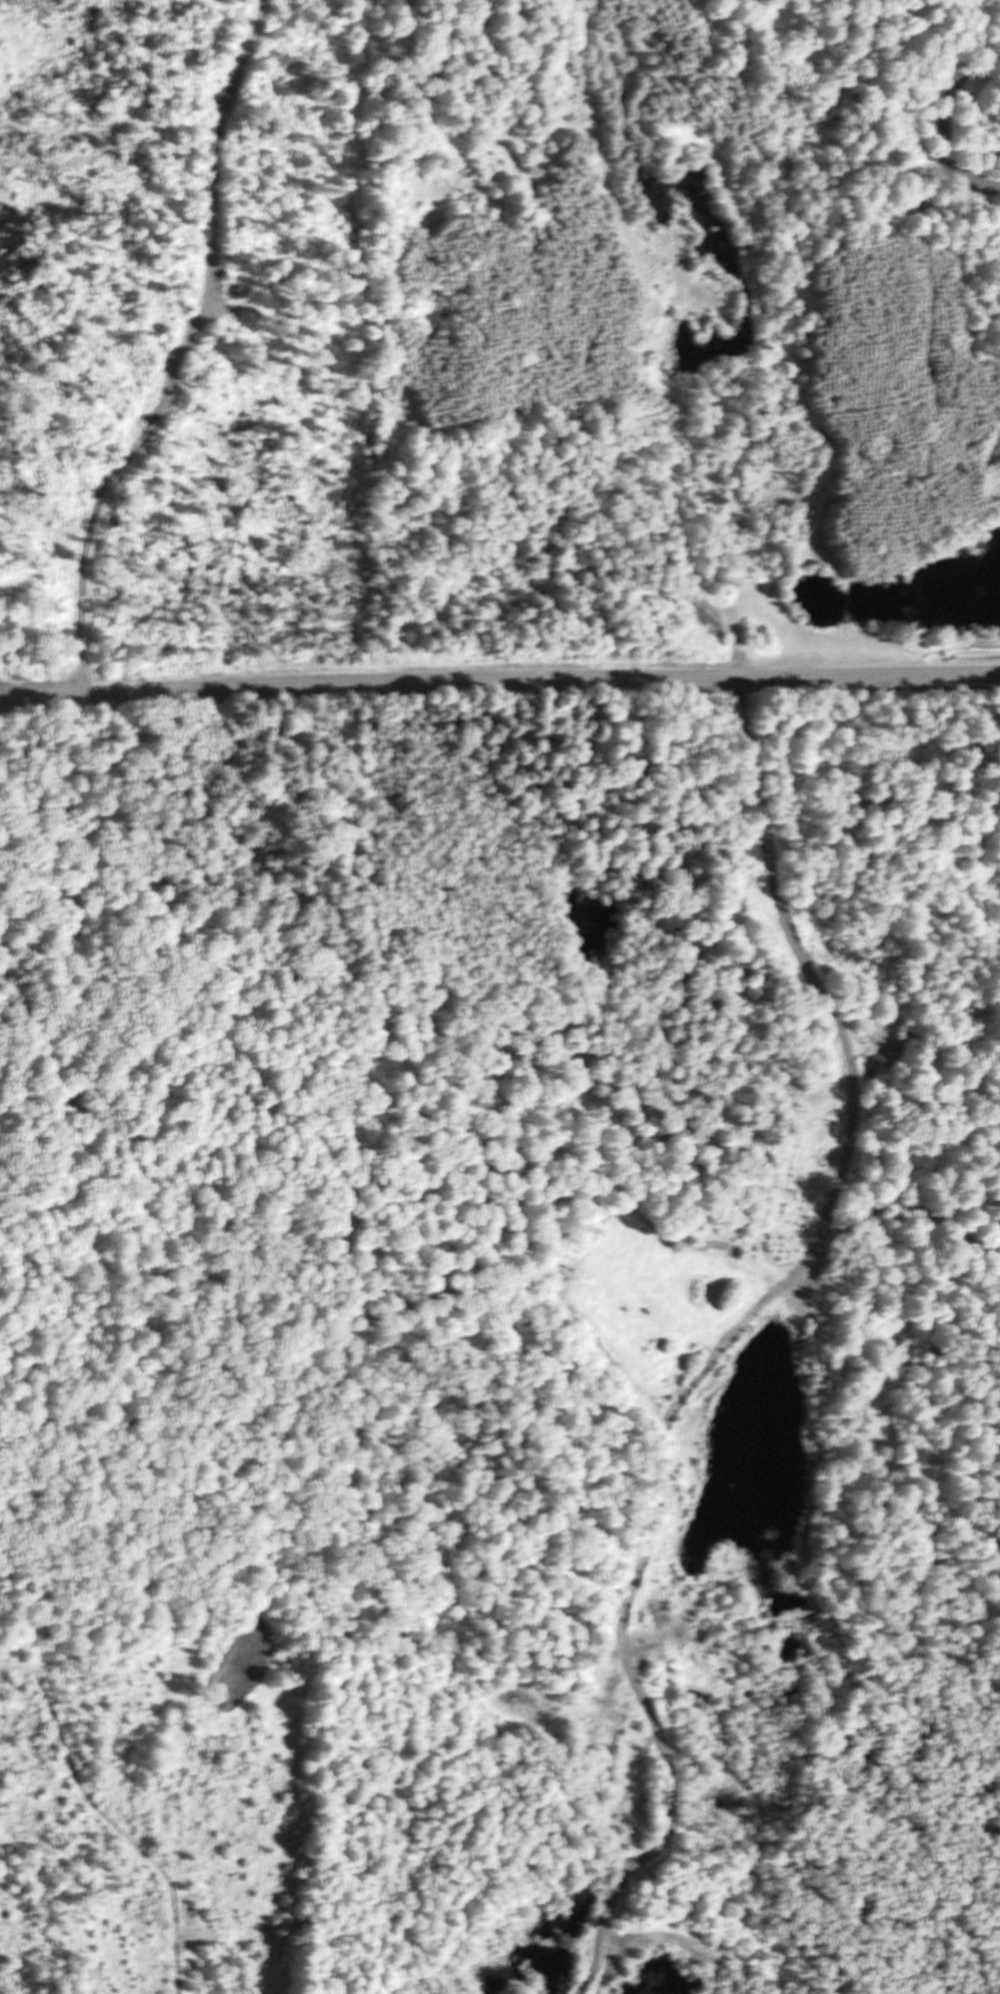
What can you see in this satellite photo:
road: (499, 682)

